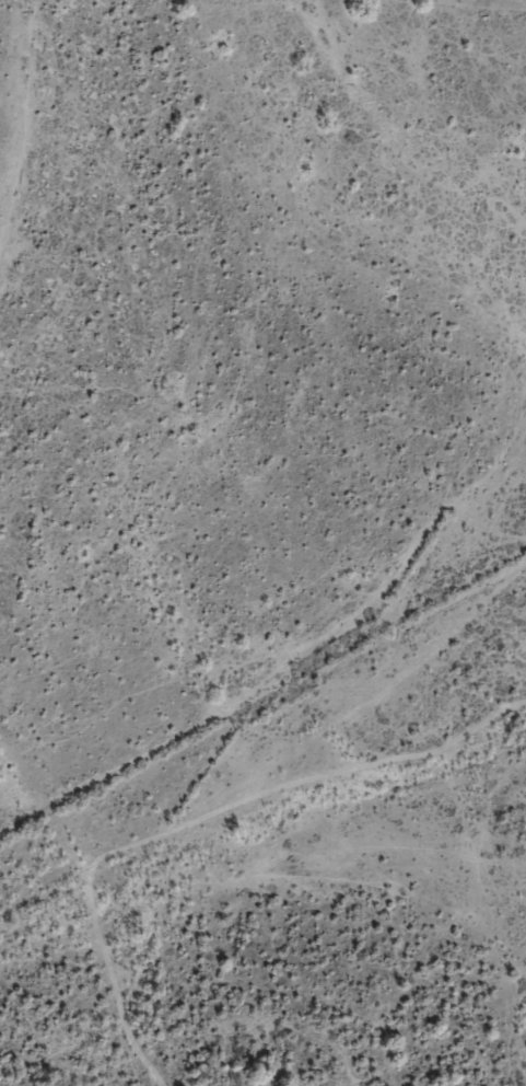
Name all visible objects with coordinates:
road: (55, 209)
road: (87, 818)

